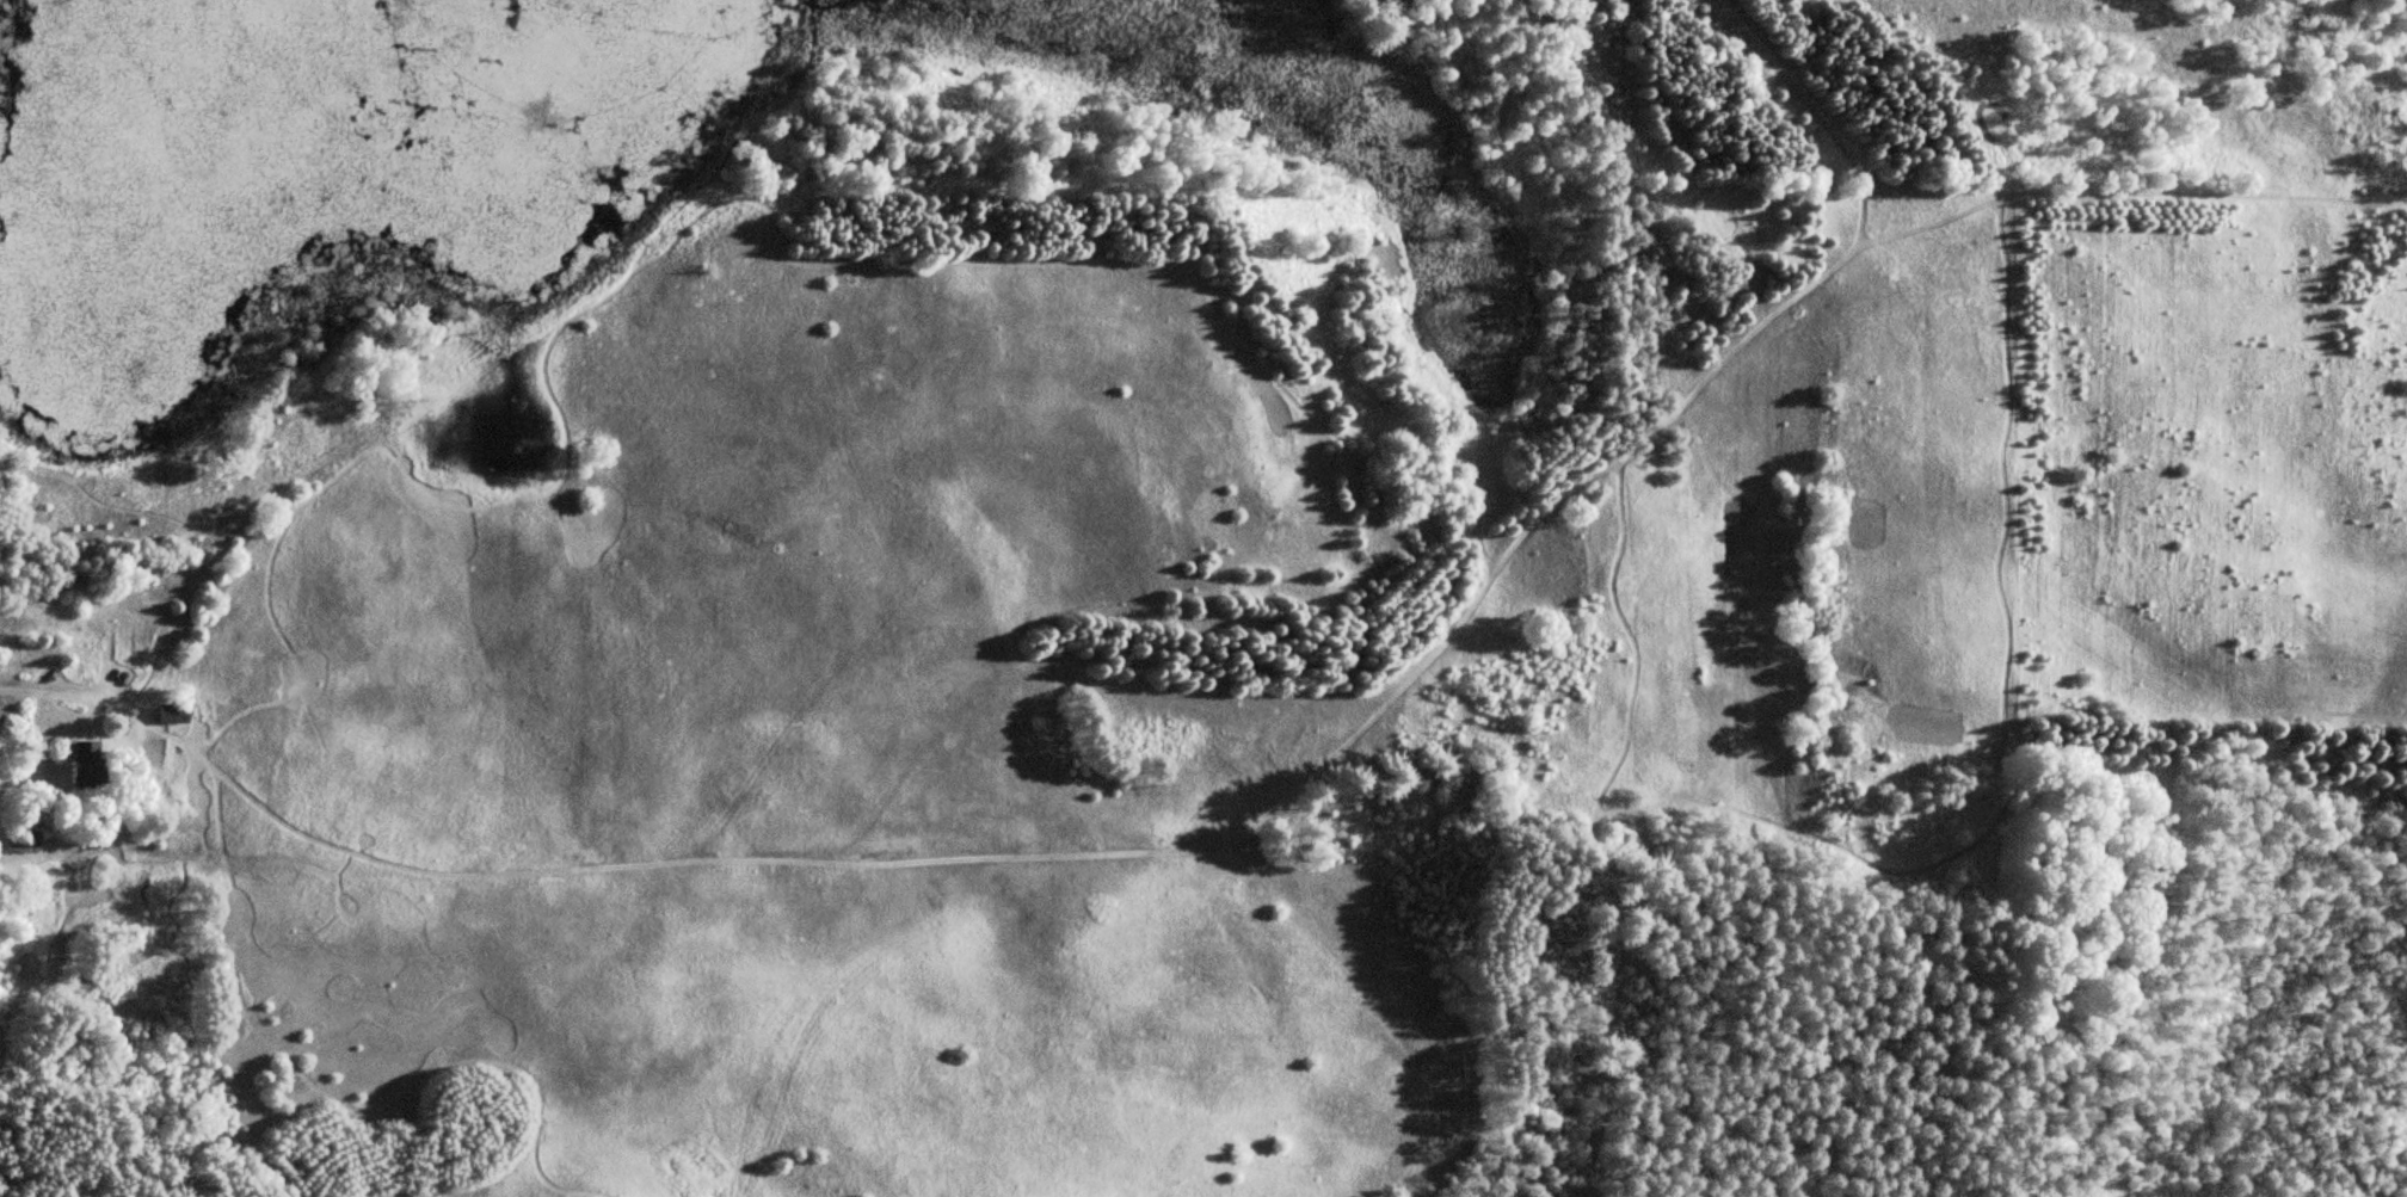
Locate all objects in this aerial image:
building: (176, 714)
building: (90, 765)

